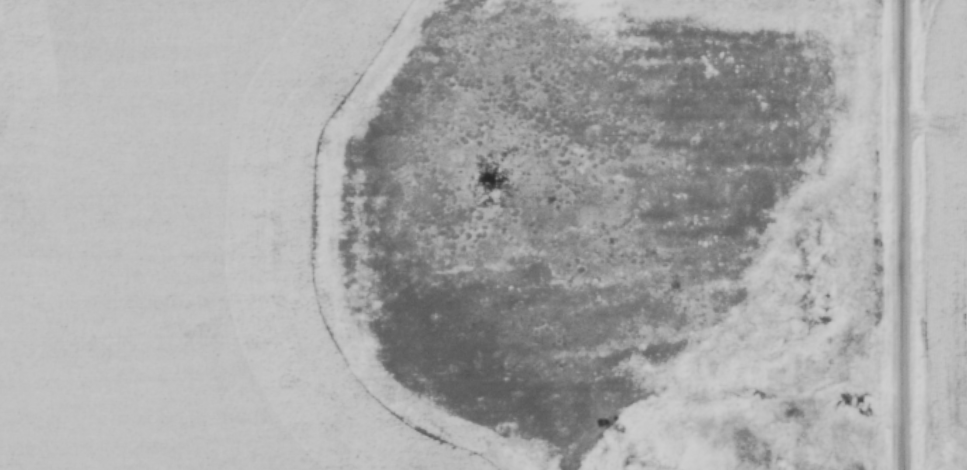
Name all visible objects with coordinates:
road: (903, 235)
road: (677, 469)

